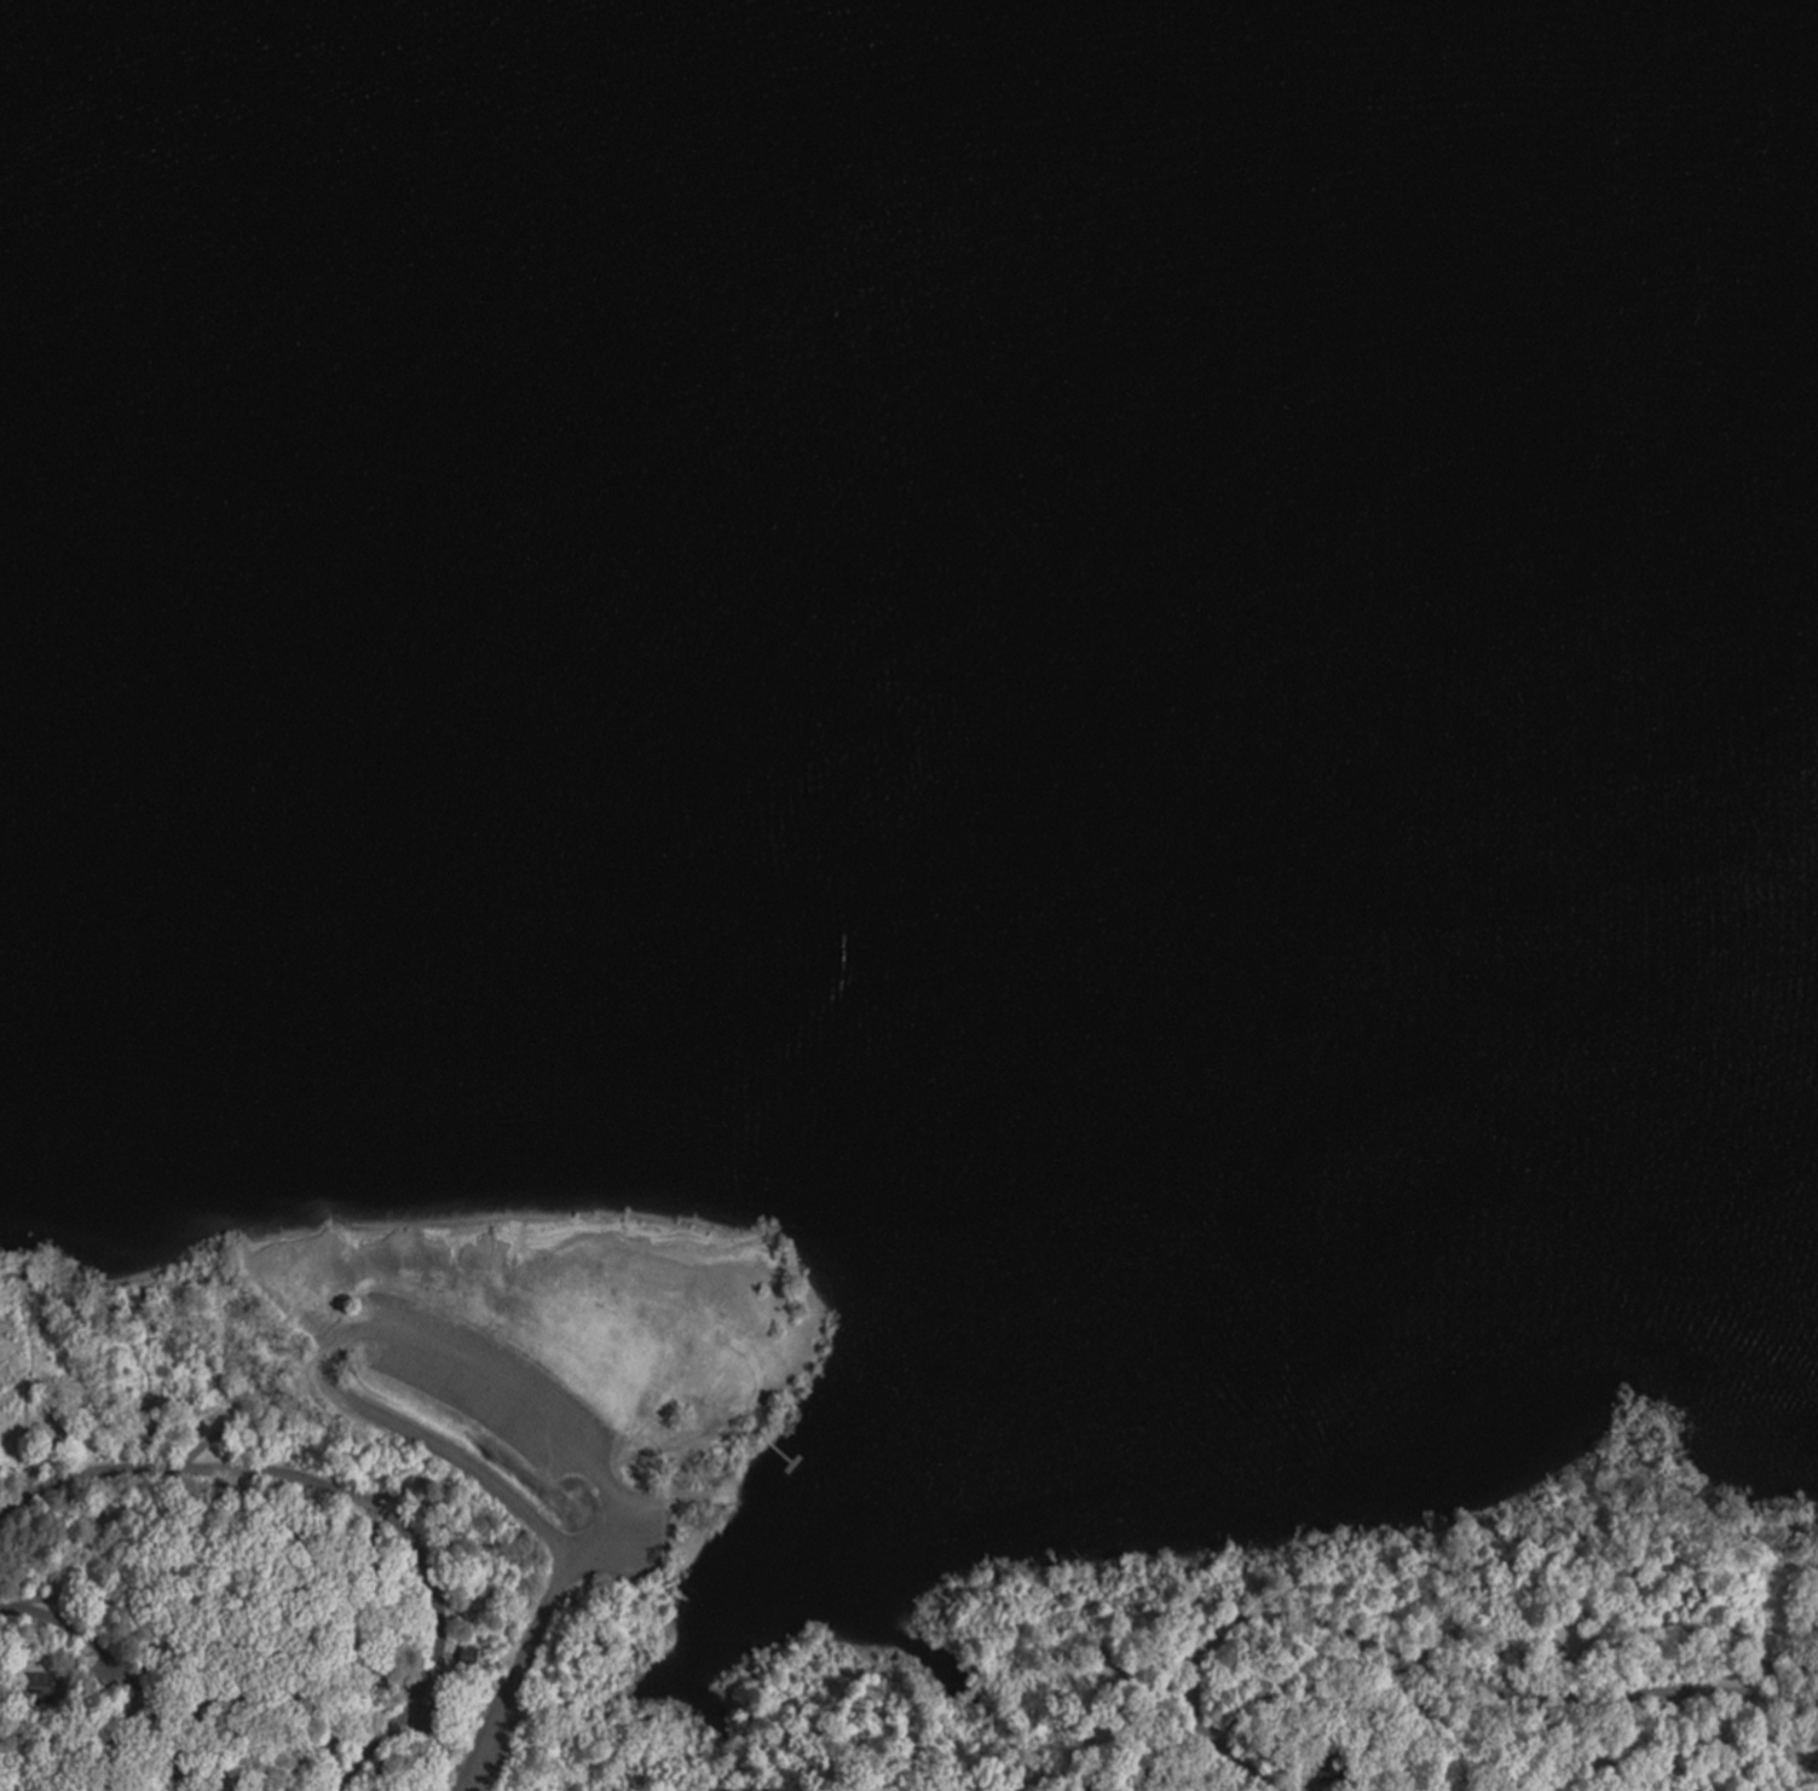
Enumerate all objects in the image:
road: (382, 1333)
parking lot: (518, 1449)
road: (348, 1494)
road: (1220, 1645)
building: (466, 1654)
road: (516, 1679)
building: (37, 1686)
road: (1600, 1699)
building: (1326, 1768)

